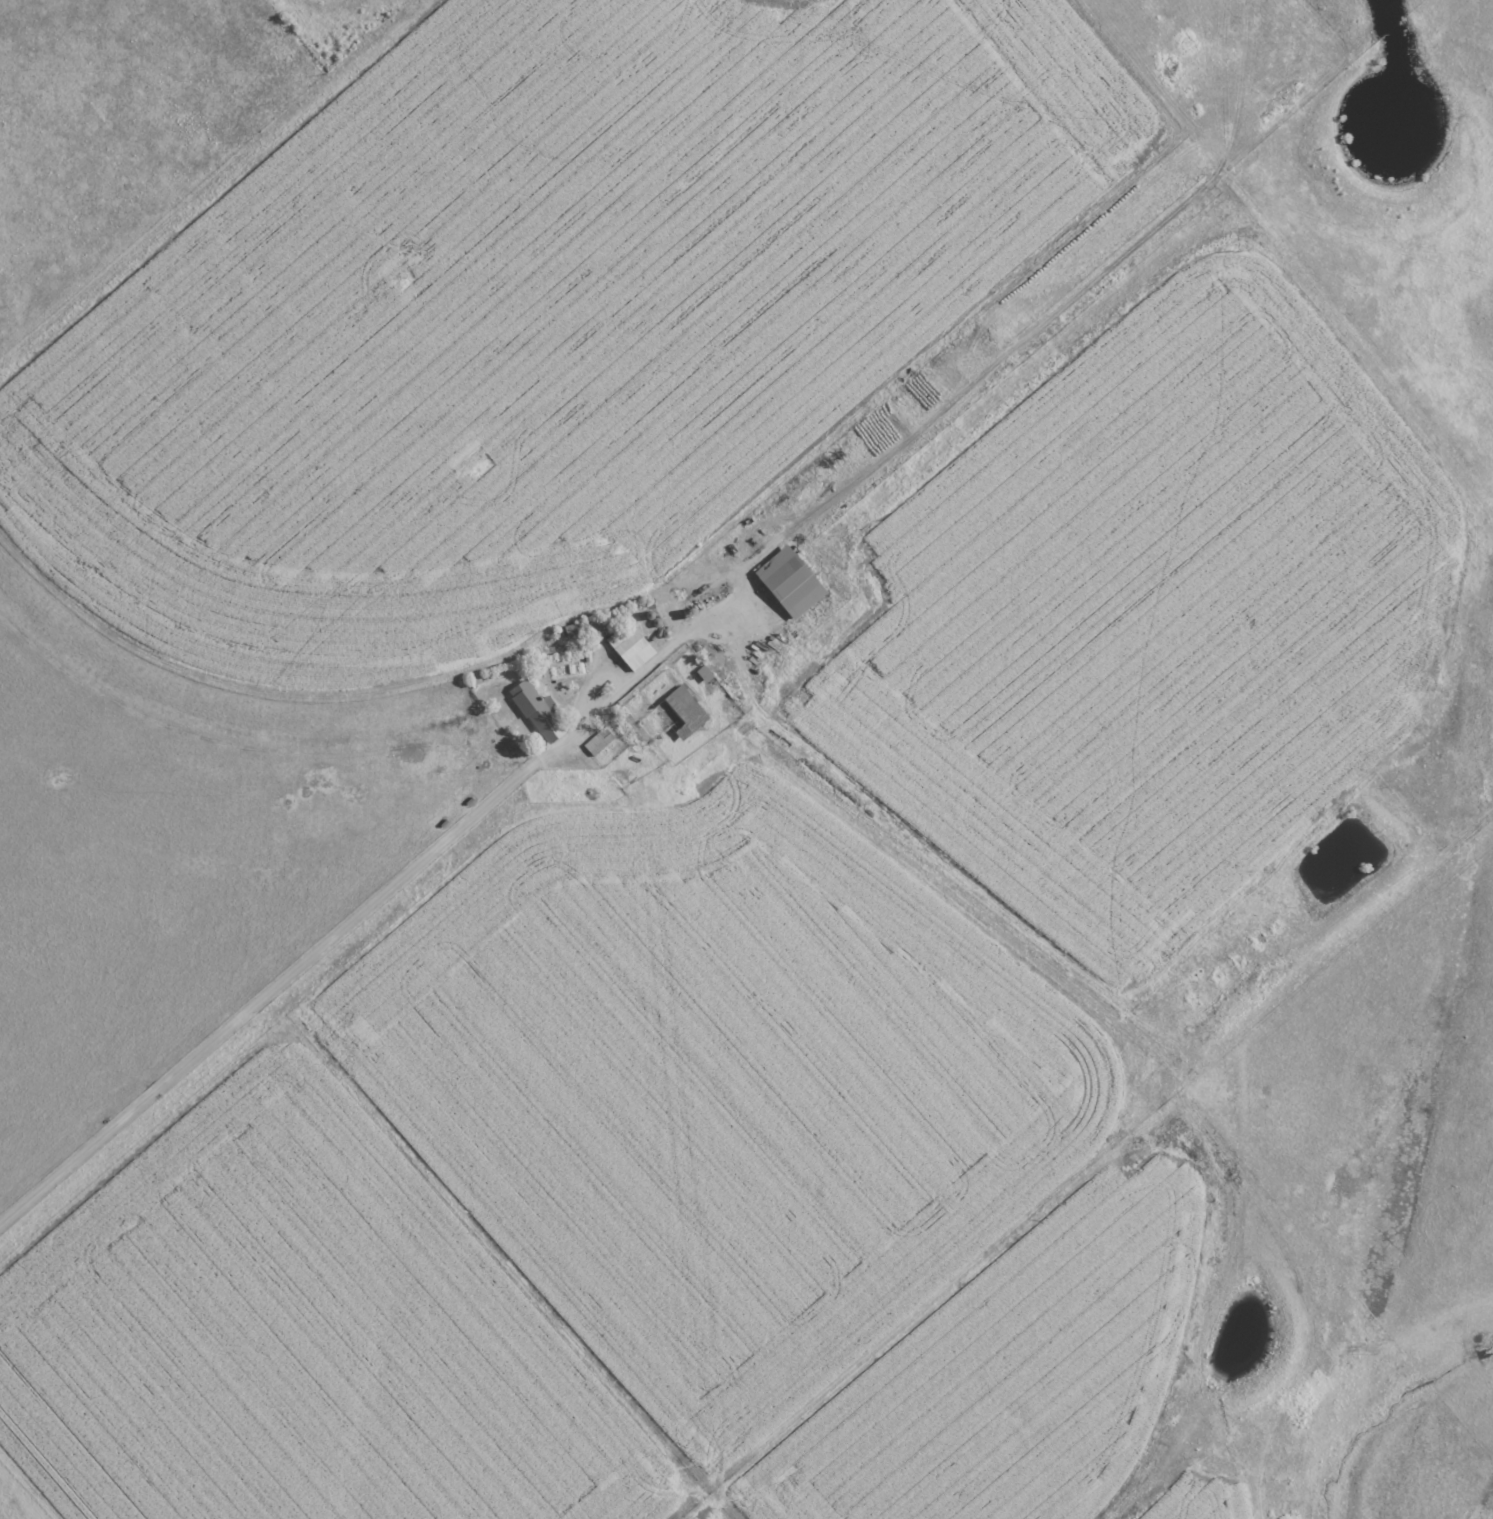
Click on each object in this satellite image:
road: (1307, 92)
building: (794, 580)
building: (633, 645)
building: (707, 673)
road: (619, 692)
building: (541, 711)
building: (688, 711)
building: (600, 739)

